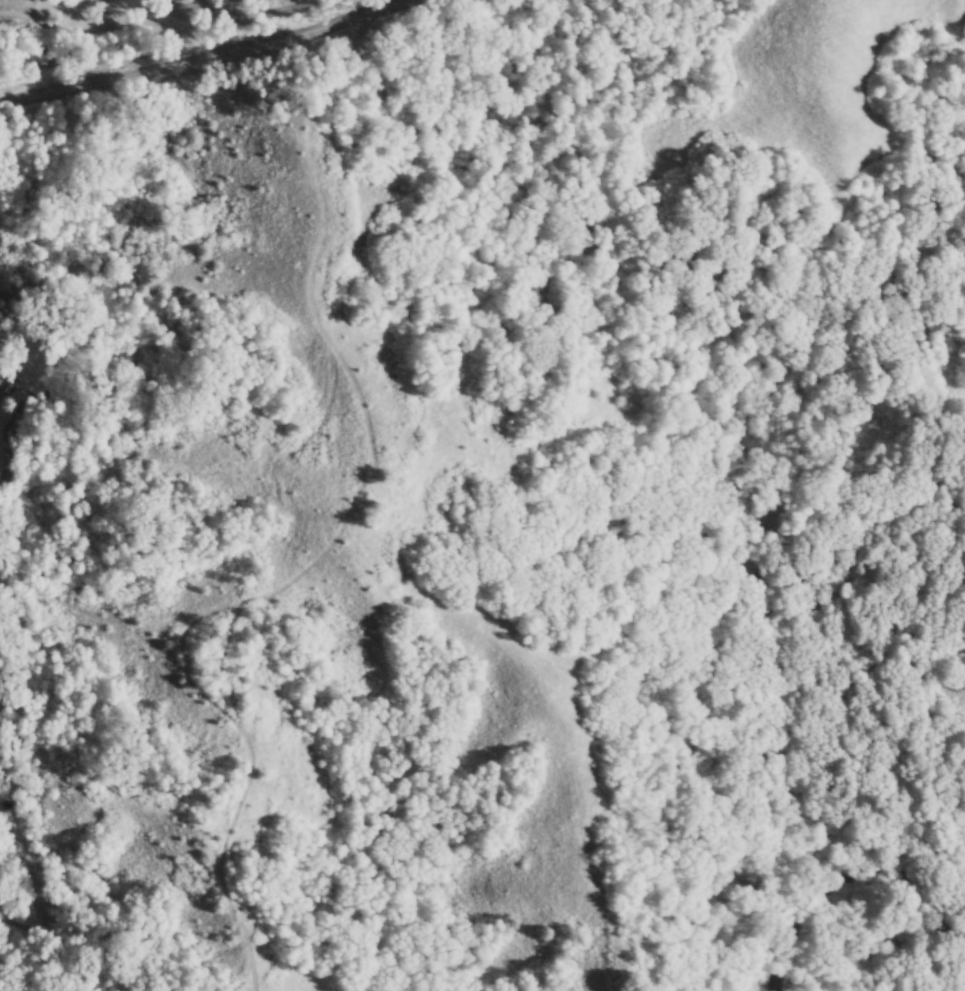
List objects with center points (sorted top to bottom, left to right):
road: (198, 59)
road: (555, 206)
park: (734, 522)
road: (886, 878)
road: (791, 965)

